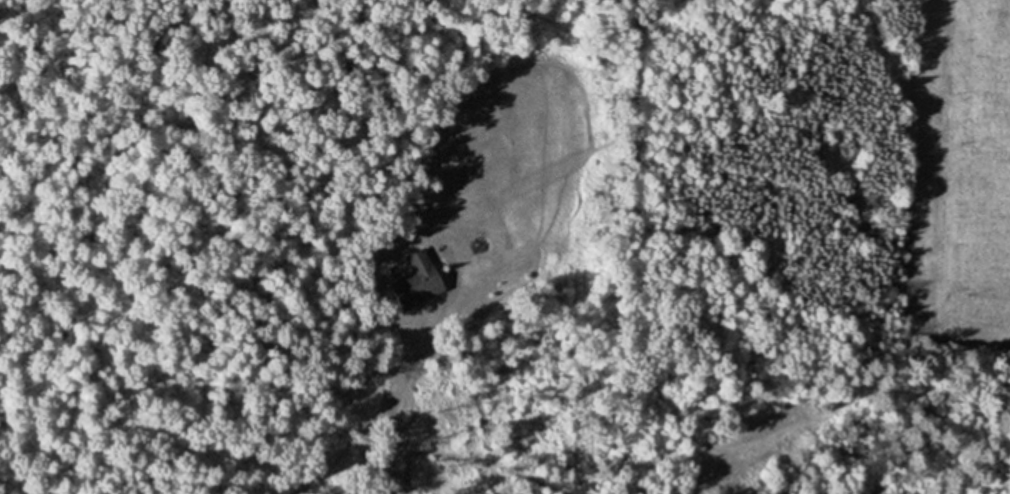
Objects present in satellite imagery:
building: (416, 281)
road: (386, 405)

